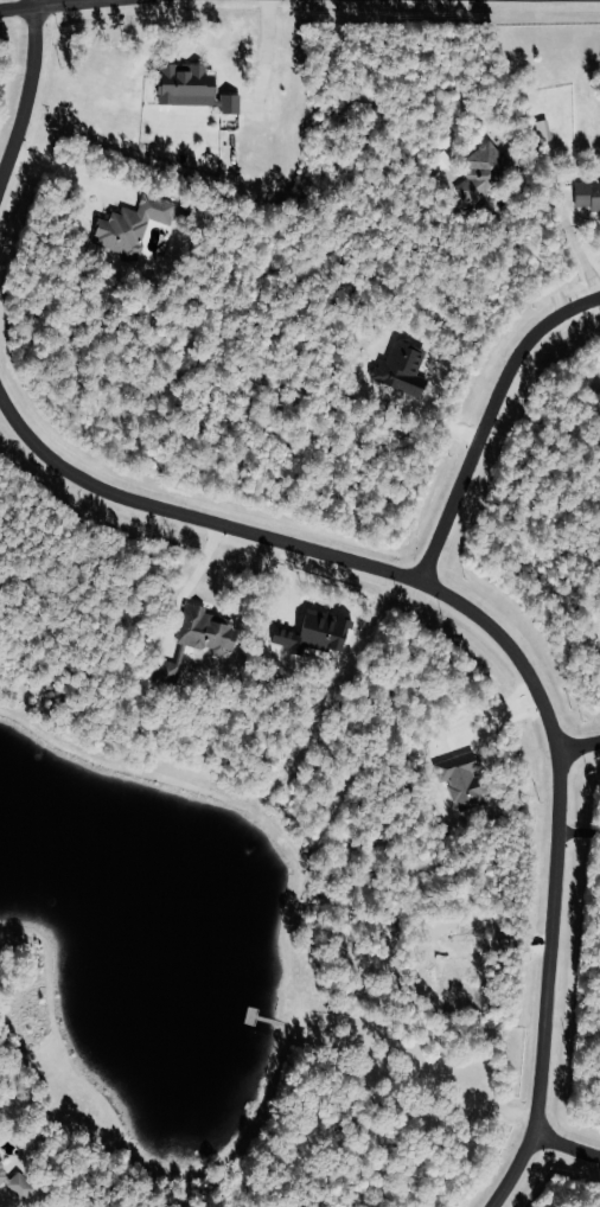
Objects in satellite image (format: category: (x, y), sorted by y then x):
road: (49, 6)
road: (267, 52)
building: (194, 87)
road: (26, 96)
building: (544, 130)
road: (69, 171)
building: (487, 171)
road: (512, 190)
building: (588, 194)
building: (134, 224)
building: (403, 368)
road: (487, 420)
road: (190, 583)
building: (197, 641)
road: (508, 649)
road: (577, 747)
road: (564, 1145)
building: (17, 1182)

